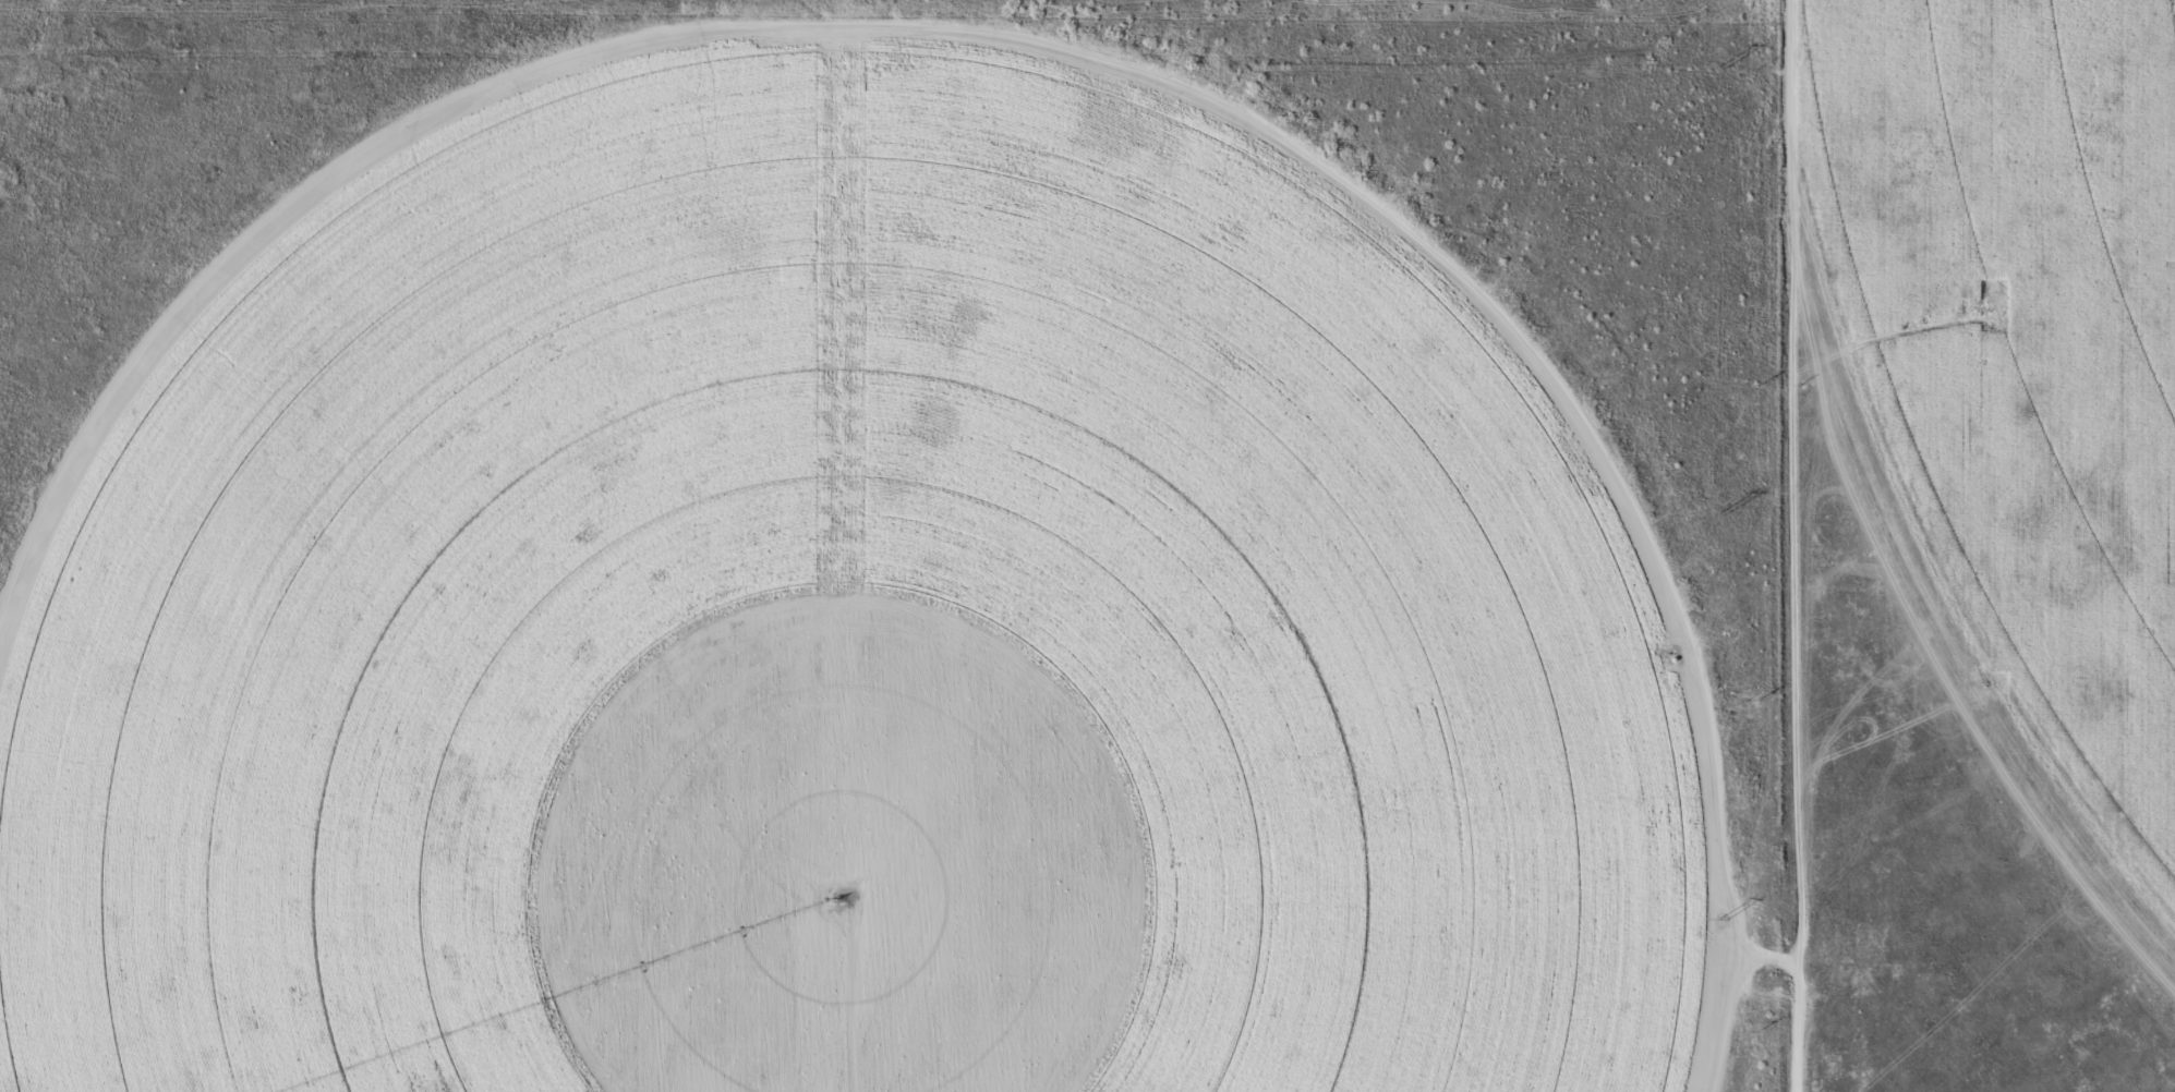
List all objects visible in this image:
road: (892, 35)
power tower: (1720, 69)
crop: (2022, 347)
power tower: (1717, 513)
road: (1780, 545)
power tower: (1721, 920)

